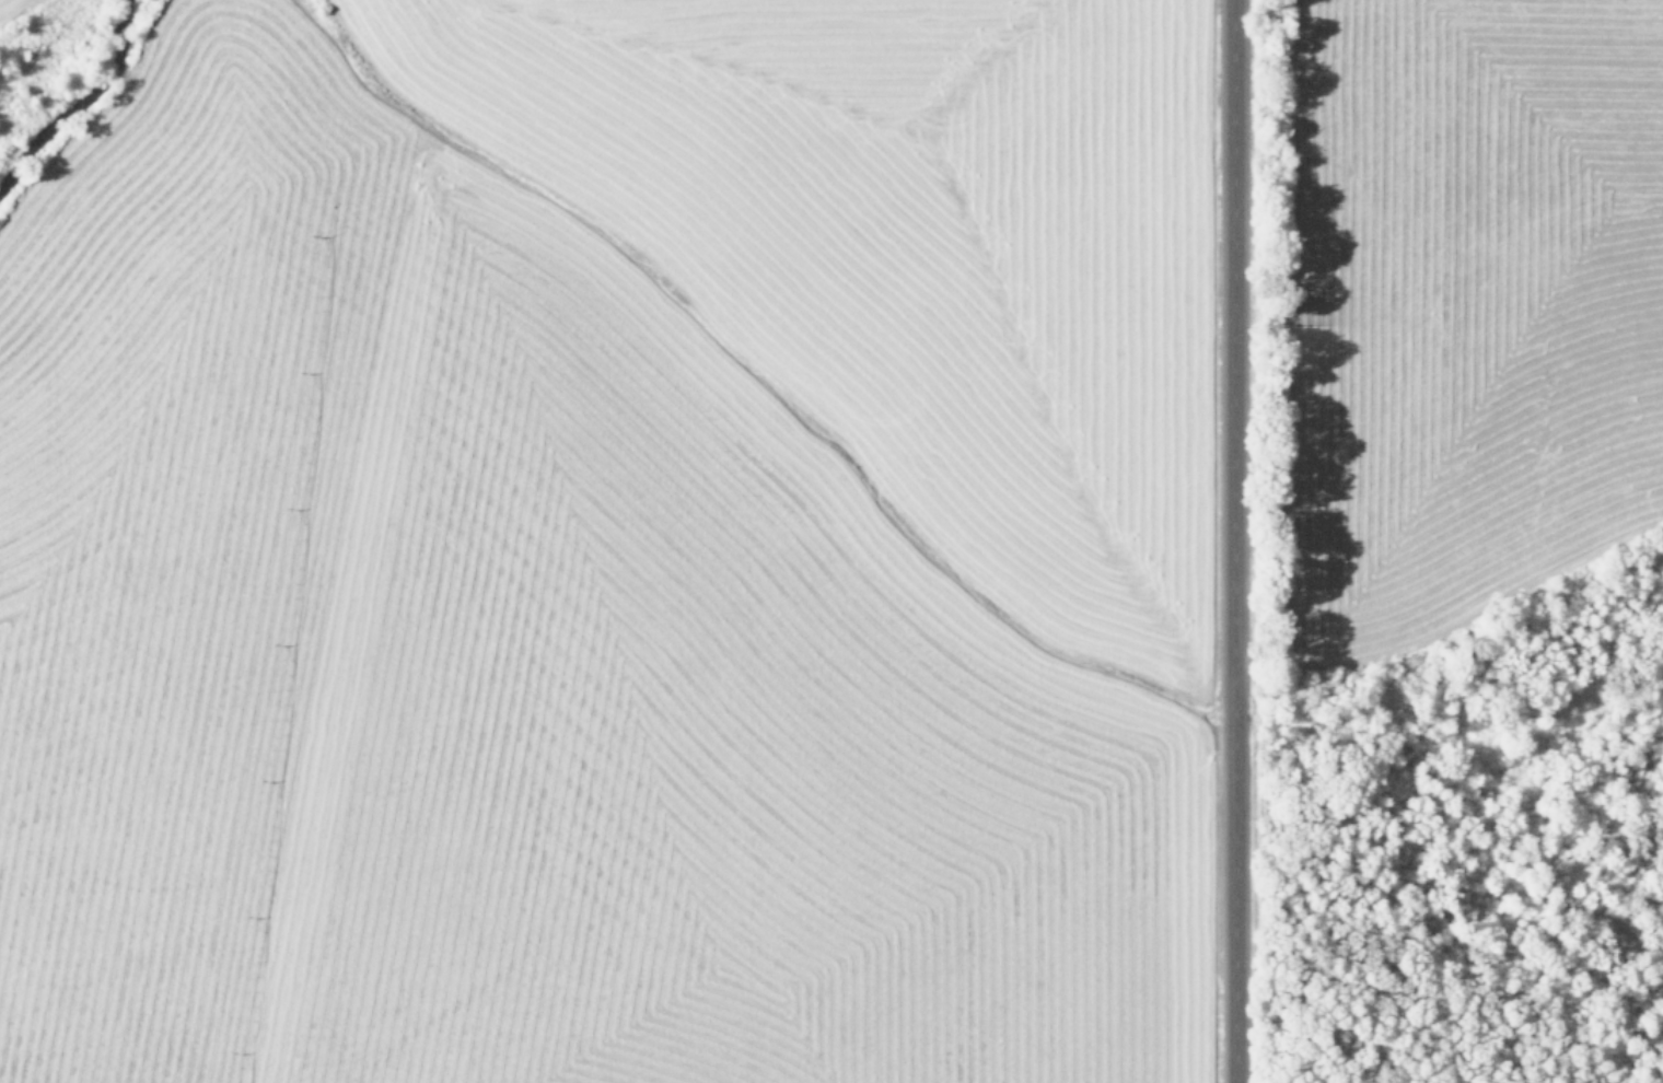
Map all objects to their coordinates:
crop: (0, 0)
road: (1224, 540)

